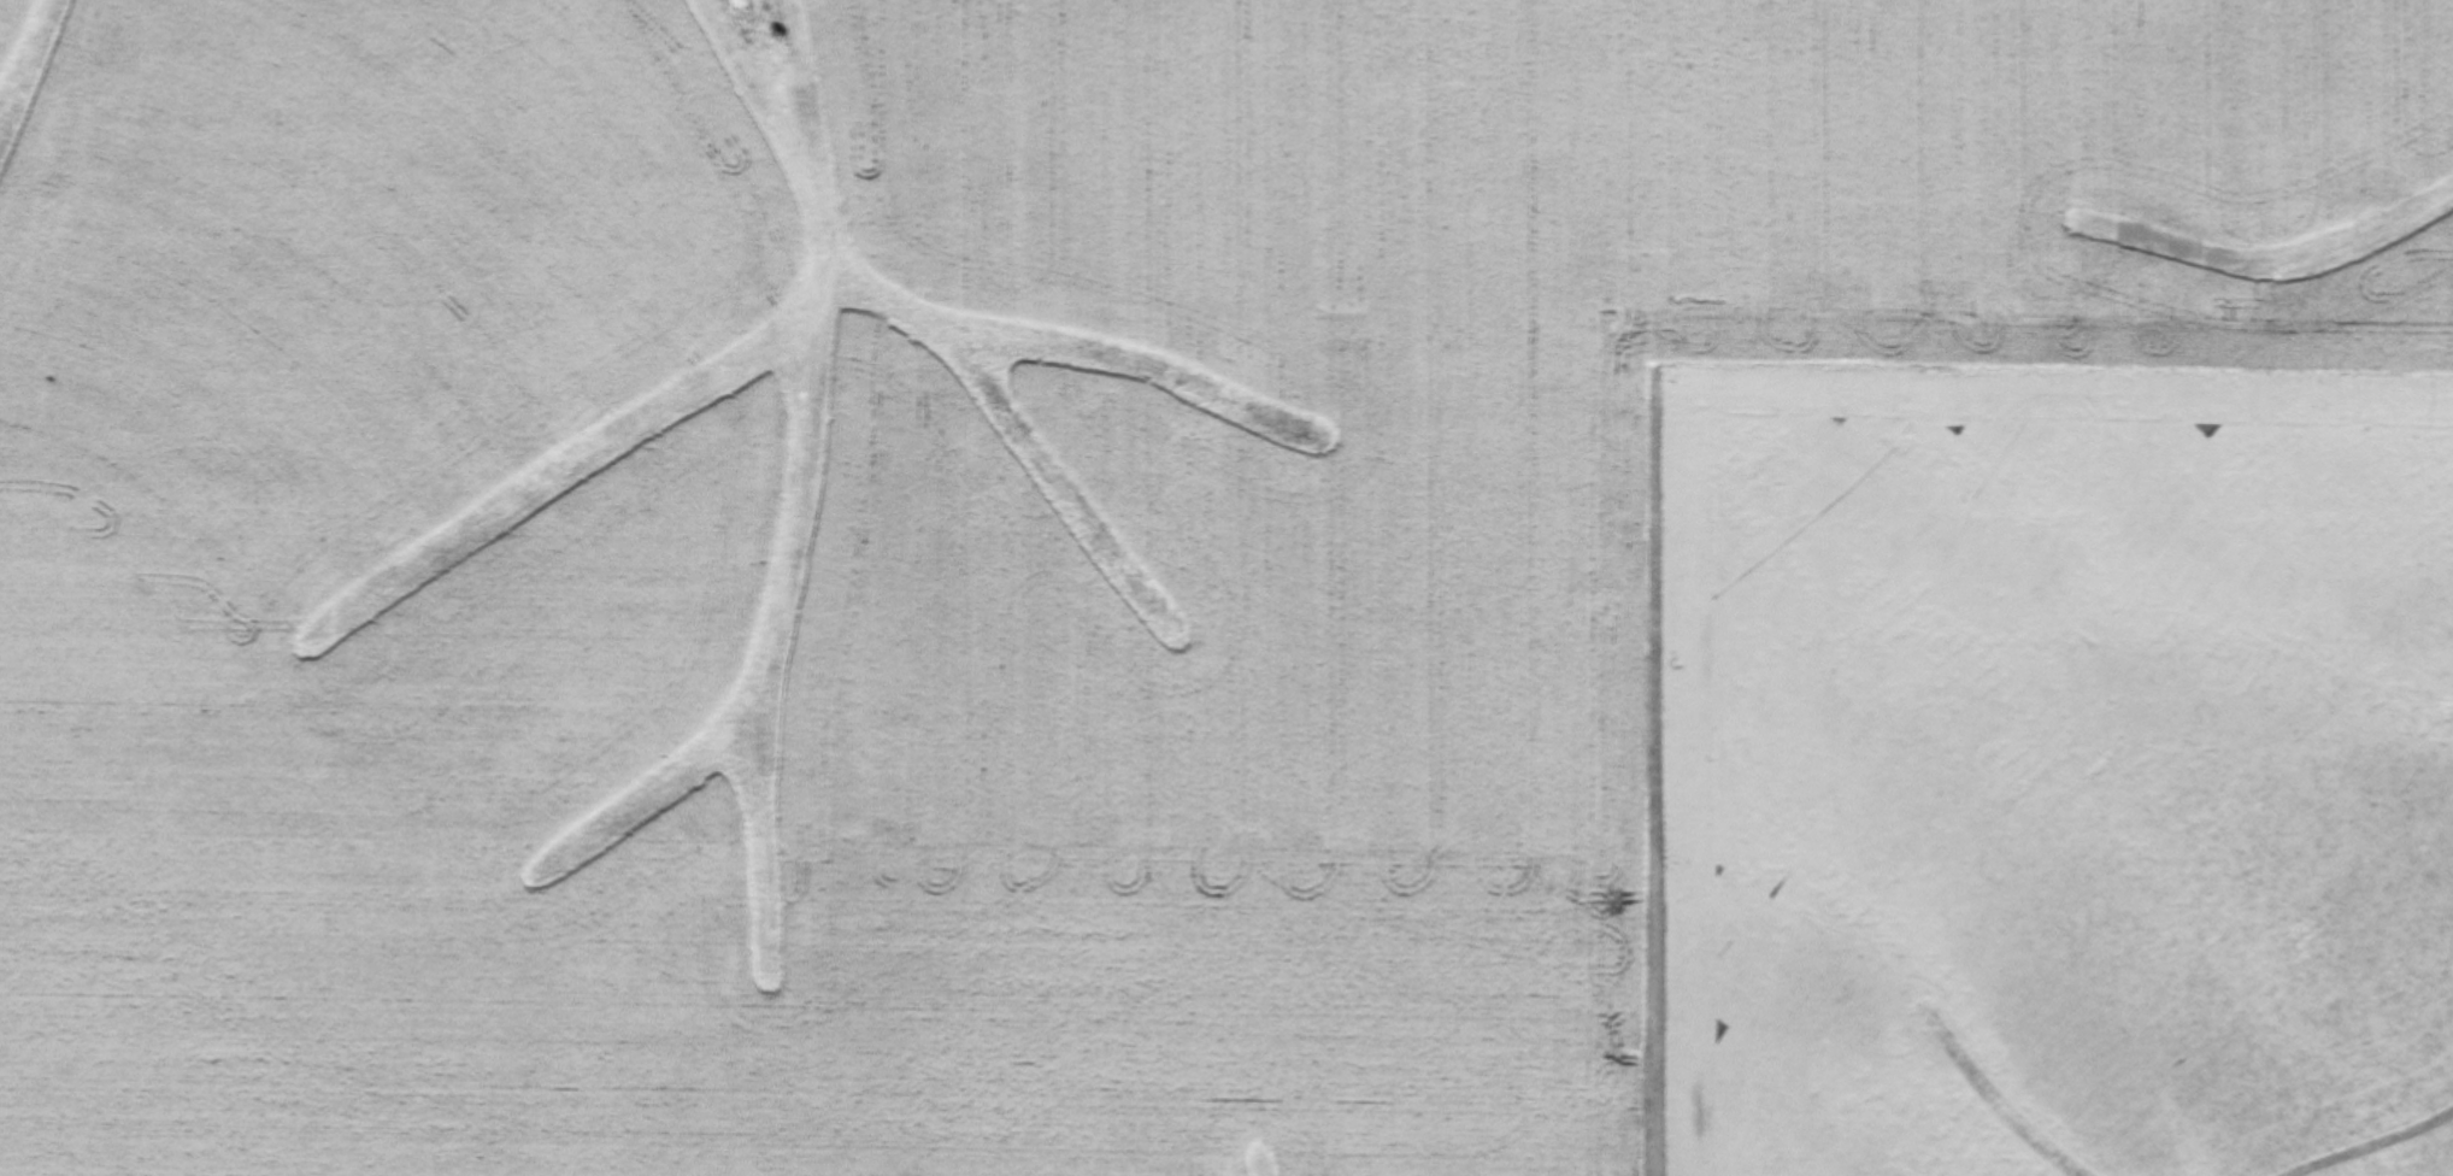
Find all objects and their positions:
road: (1651, 786)

